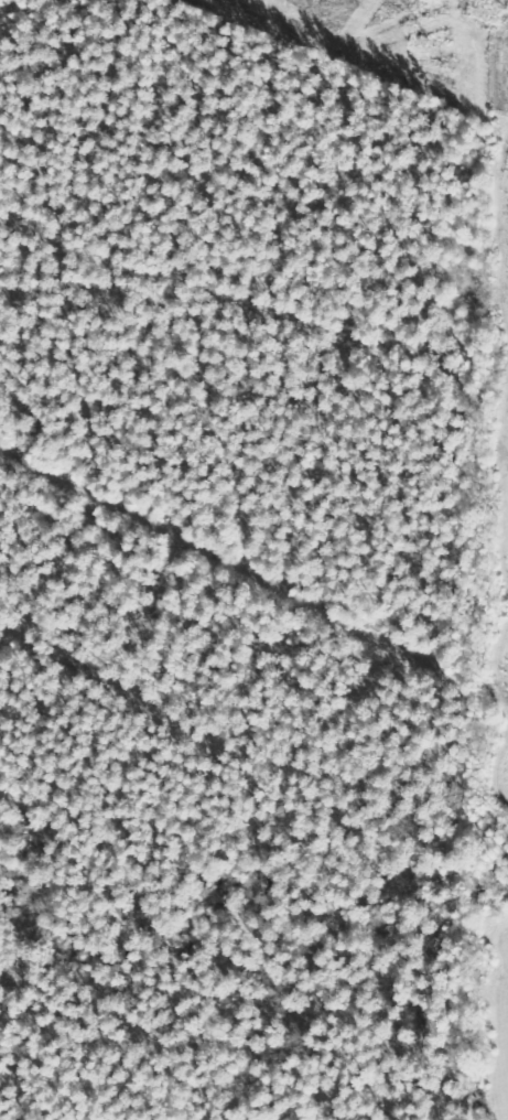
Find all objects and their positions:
power tower: (424, 41)
road: (502, 94)

